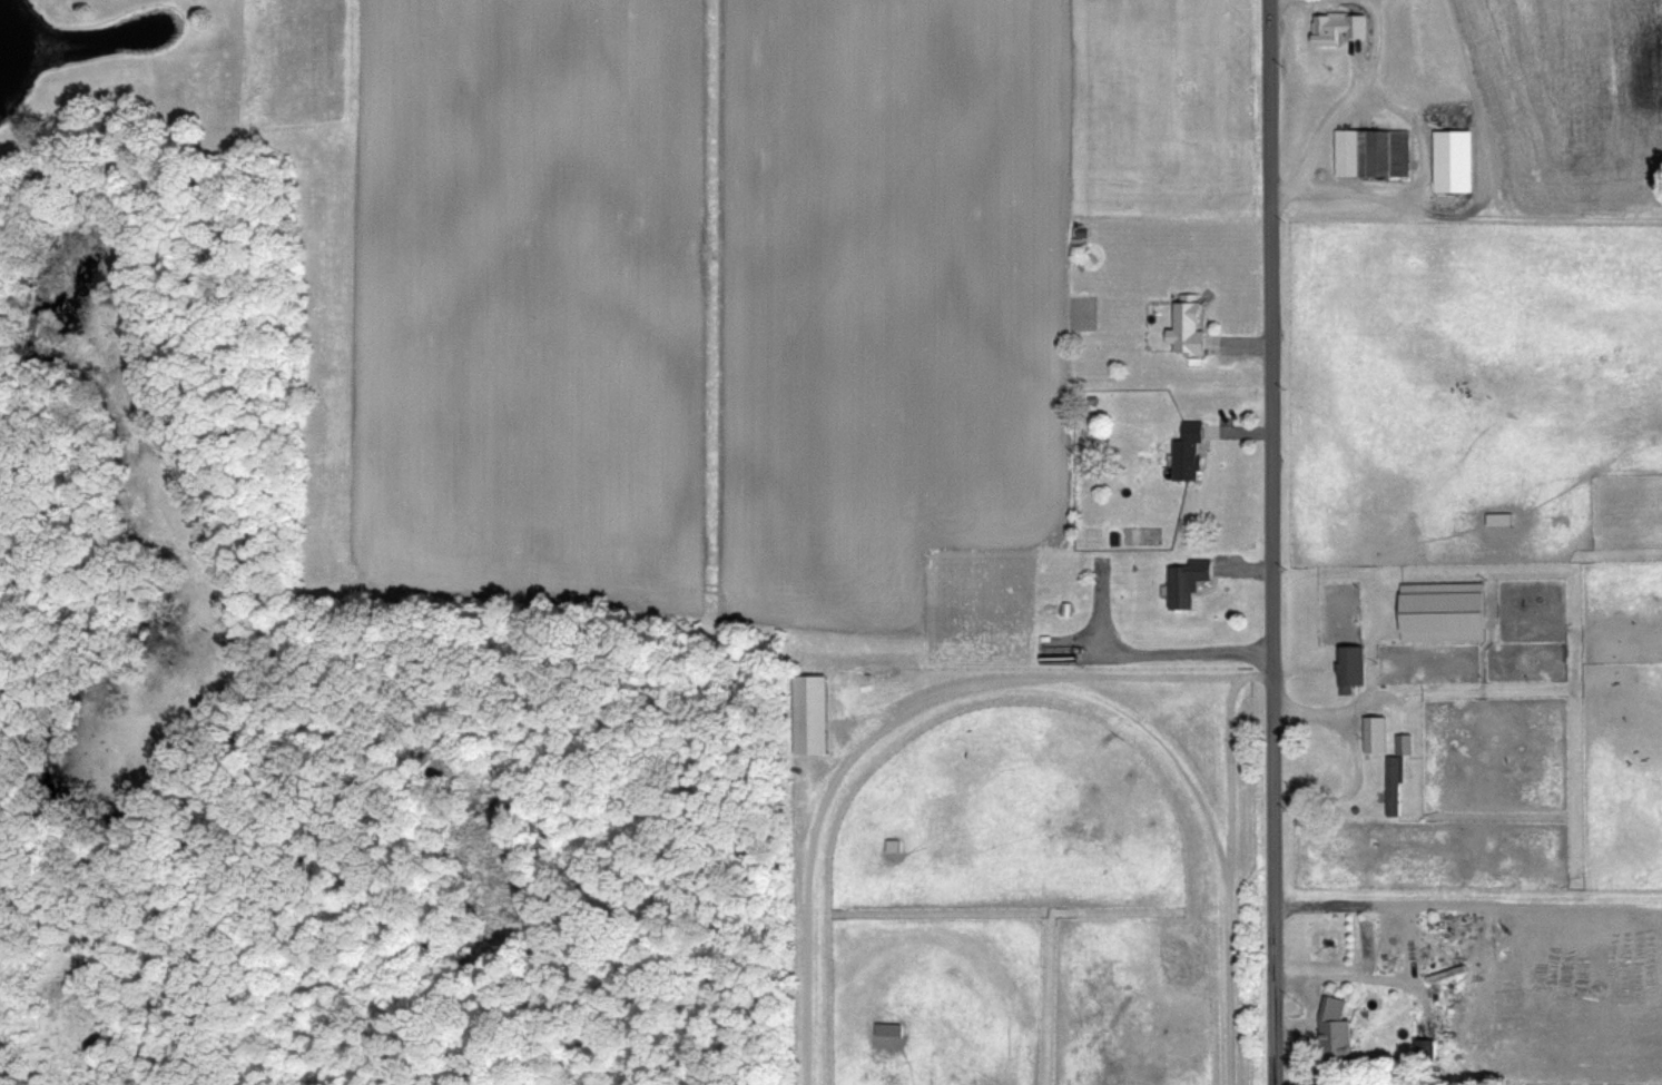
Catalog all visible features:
road: (1378, 11)
building: (1338, 26)
road: (1349, 96)
building: (1373, 151)
building: (1455, 160)
road: (1485, 198)
building: (1188, 327)
building: (1189, 452)
road: (1272, 542)
road: (1345, 572)
building: (1187, 582)
building: (1443, 610)
building: (1350, 667)
building: (1375, 732)
road: (1355, 758)
building: (1394, 785)
building: (895, 820)
building: (1336, 1042)
building: (1426, 1051)

